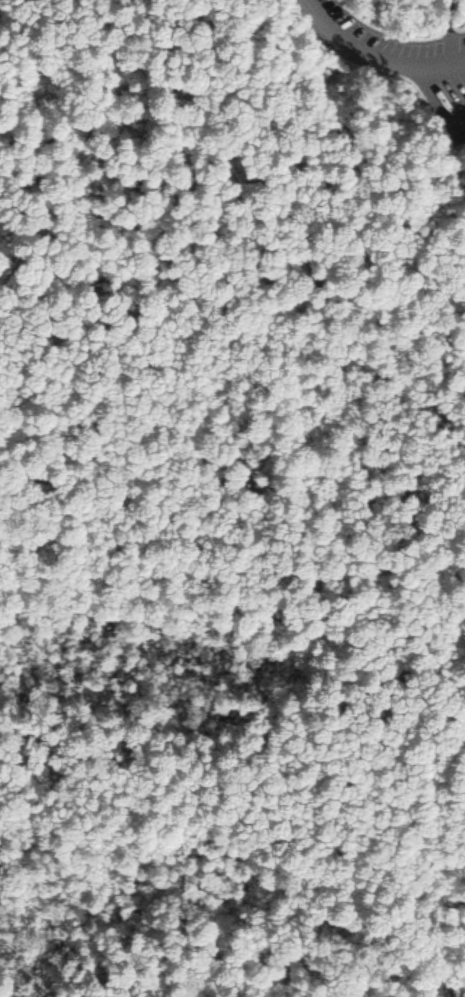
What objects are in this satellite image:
road: (381, 54)
parking lot: (441, 75)
road: (441, 100)
road: (92, 145)

